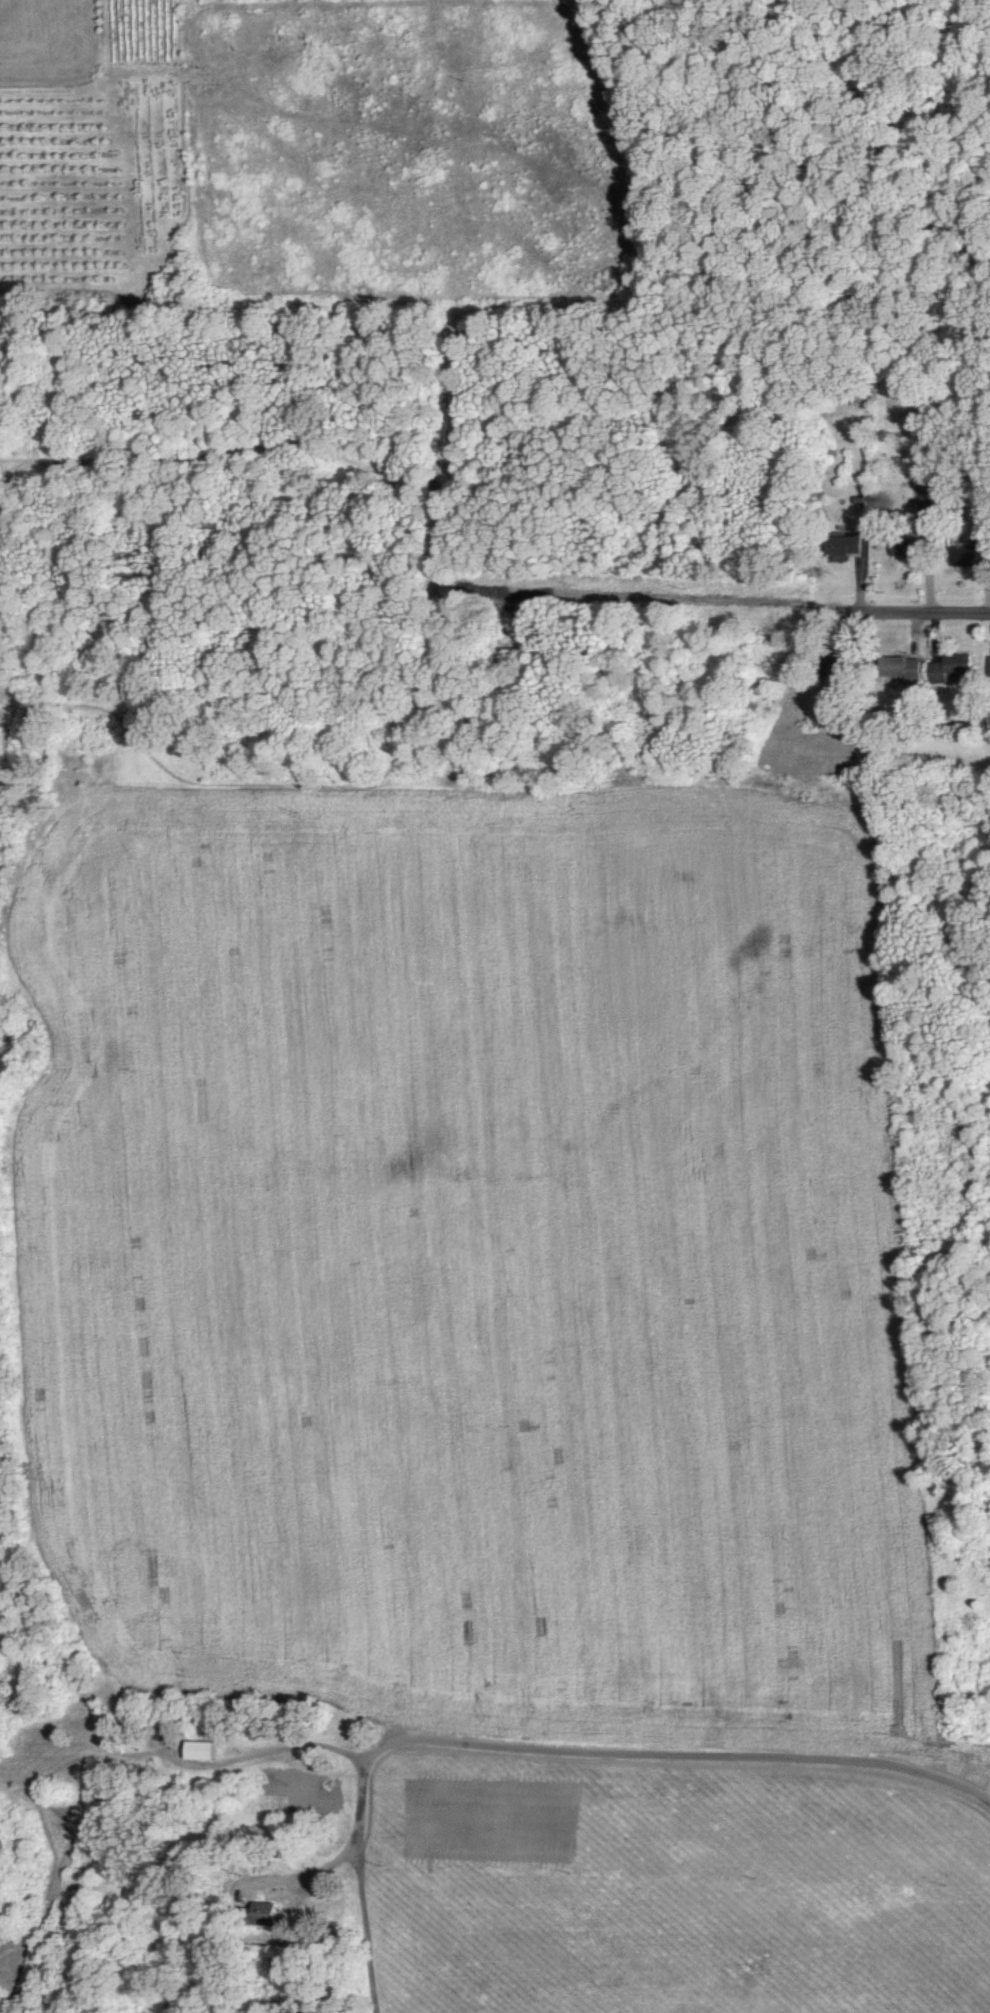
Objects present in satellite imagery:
road: (904, 606)
building: (989, 665)
building: (905, 669)
building: (954, 669)
road: (561, 1746)
building: (206, 1751)
road: (358, 1844)
building: (270, 1913)

